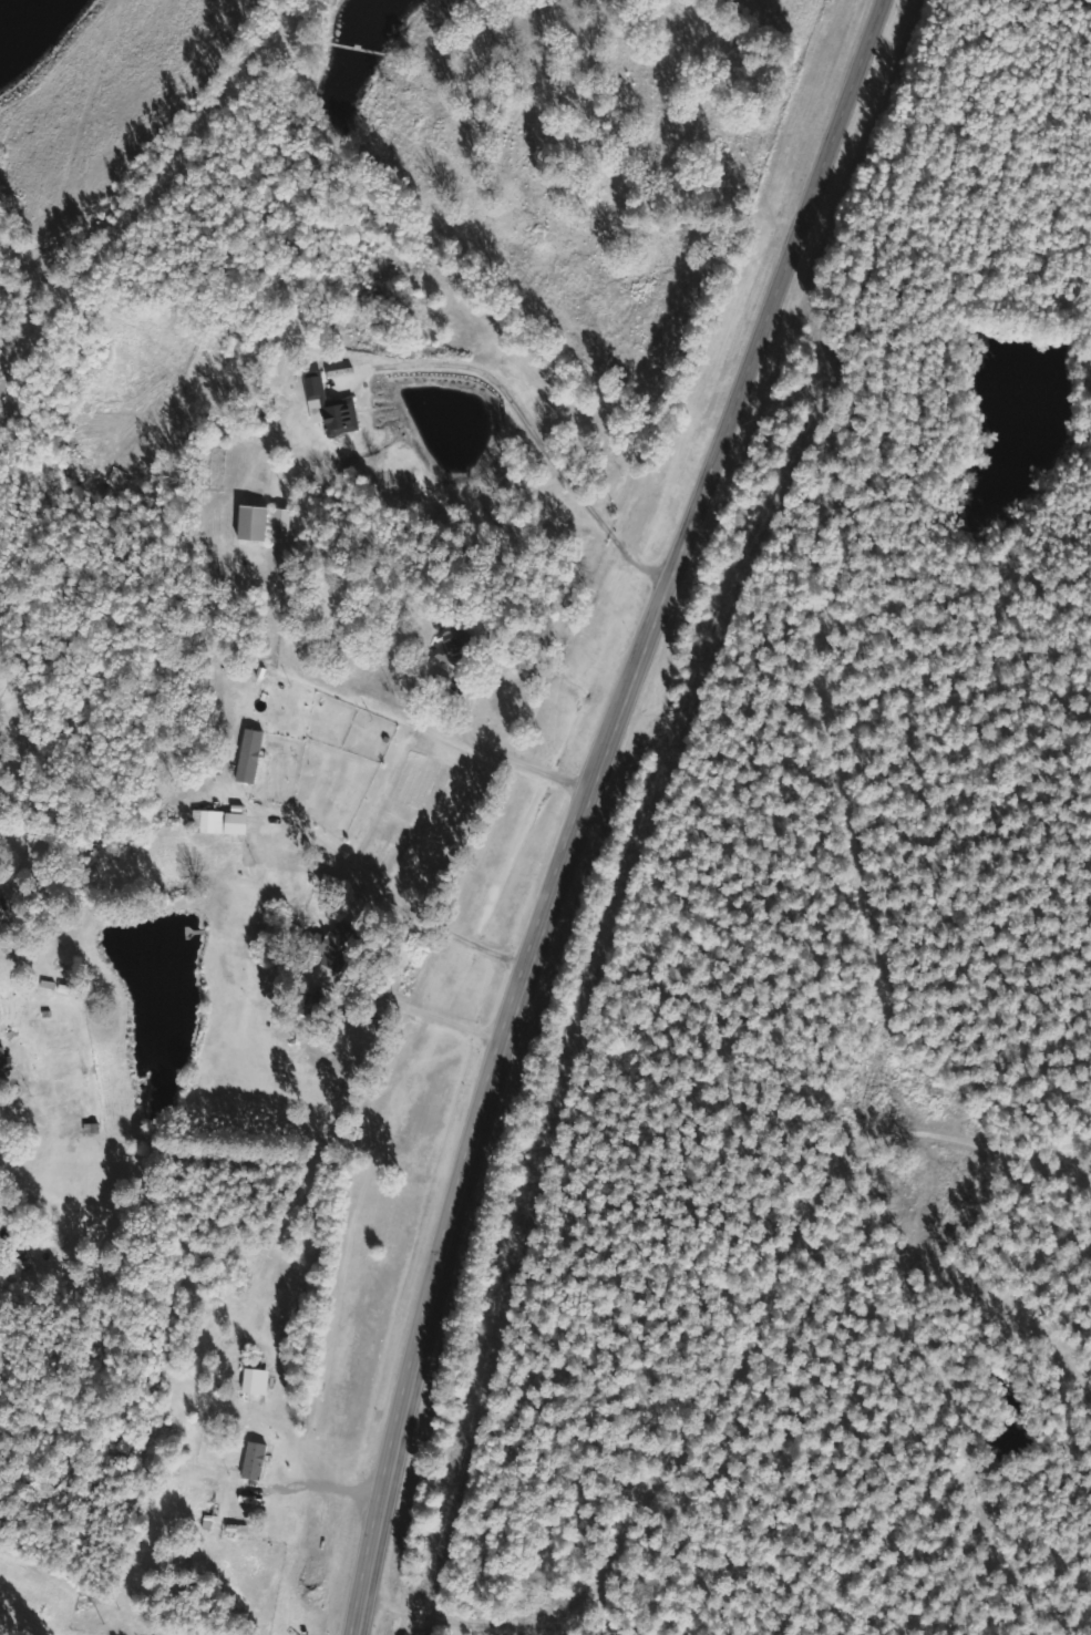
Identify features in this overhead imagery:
road: (43, 350)
building: (331, 408)
building: (265, 523)
building: (250, 755)
road: (583, 805)
building: (222, 822)
building: (336, 886)
building: (336, 945)
building: (256, 1381)
road: (679, 1459)
building: (255, 1460)
road: (434, 1608)

